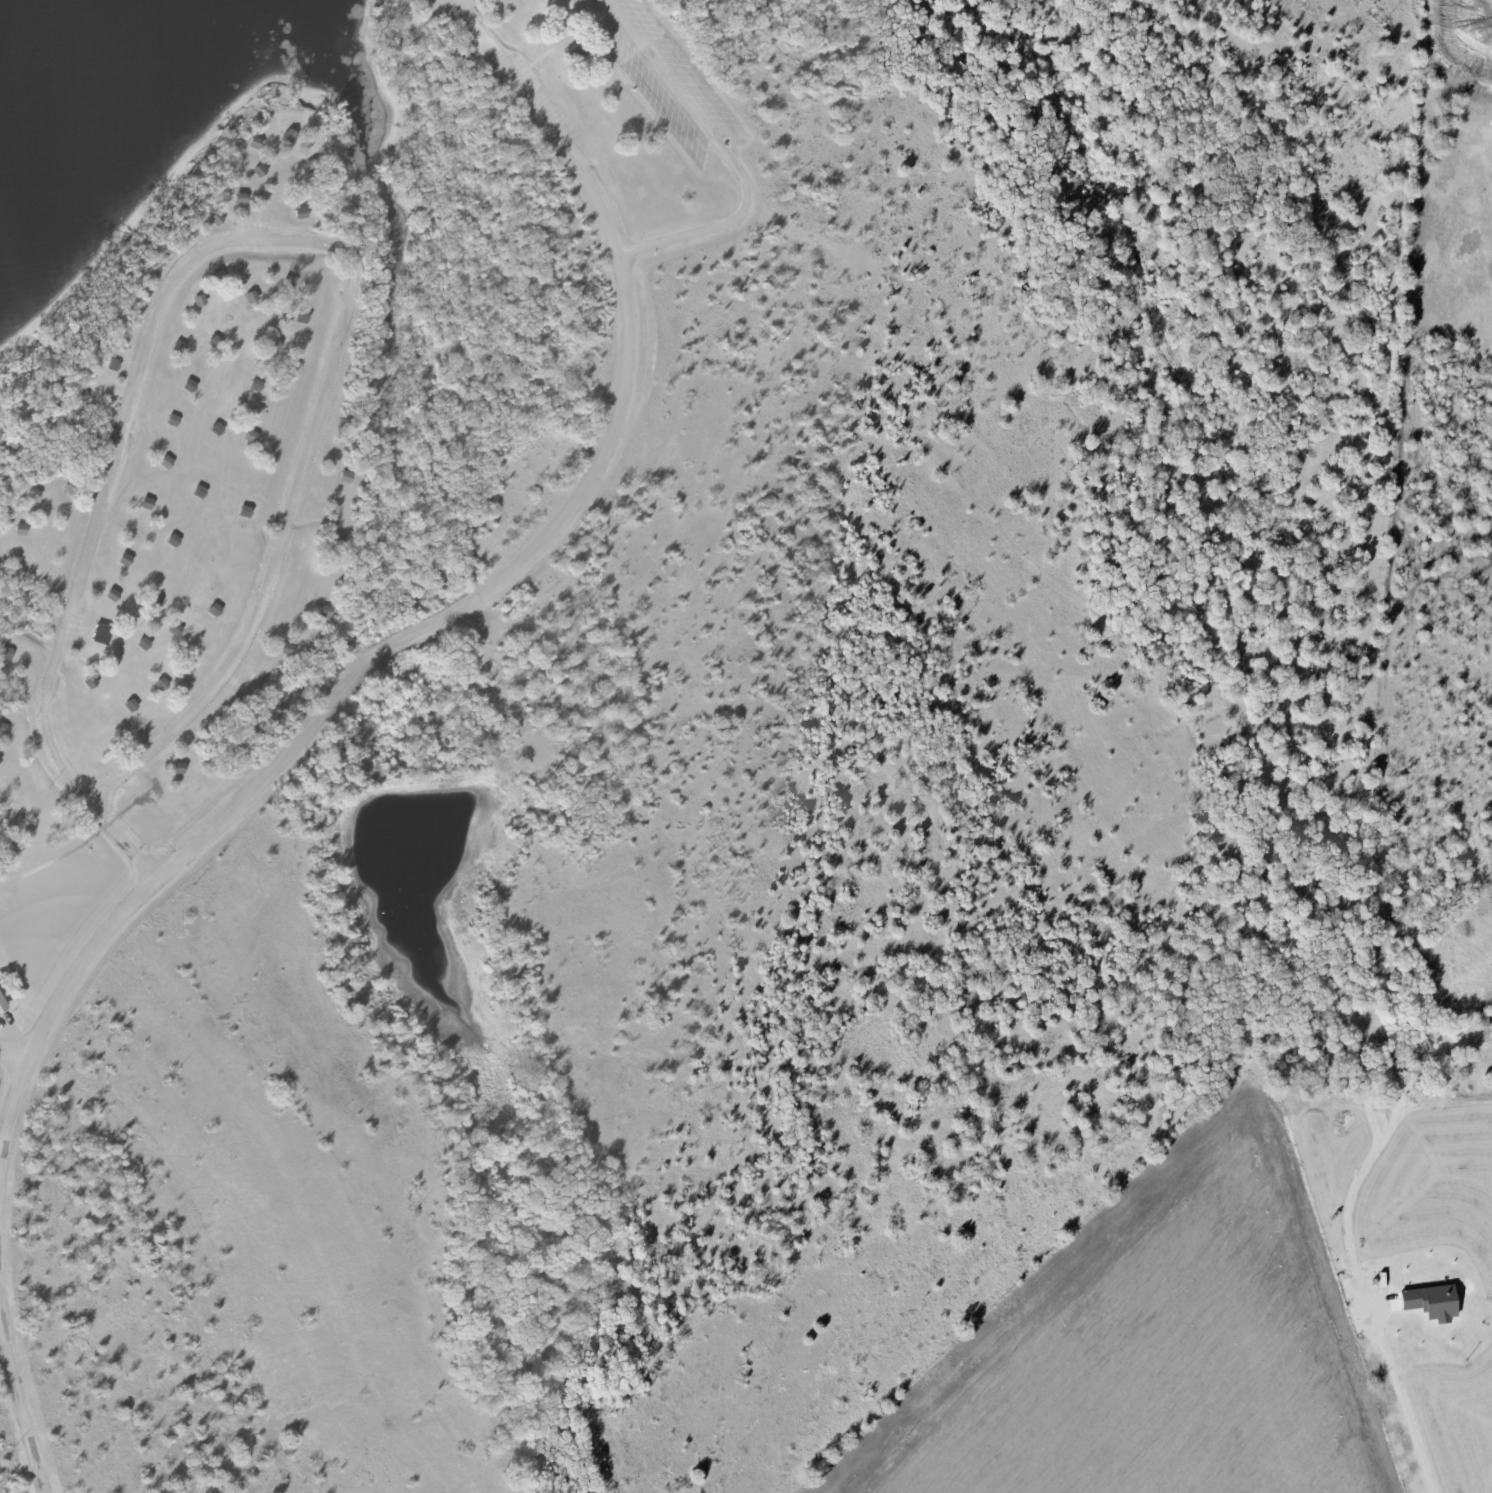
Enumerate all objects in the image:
road: (560, 42)
parking lot: (658, 74)
parking lot: (533, 97)
building: (258, 170)
road: (660, 243)
road: (173, 312)
park: (332, 497)
road: (463, 608)
building: (99, 633)
road: (106, 929)
building: (2, 1004)
road: (10, 1106)
building: (1426, 1302)
road: (1362, 1304)
road: (15, 1393)

